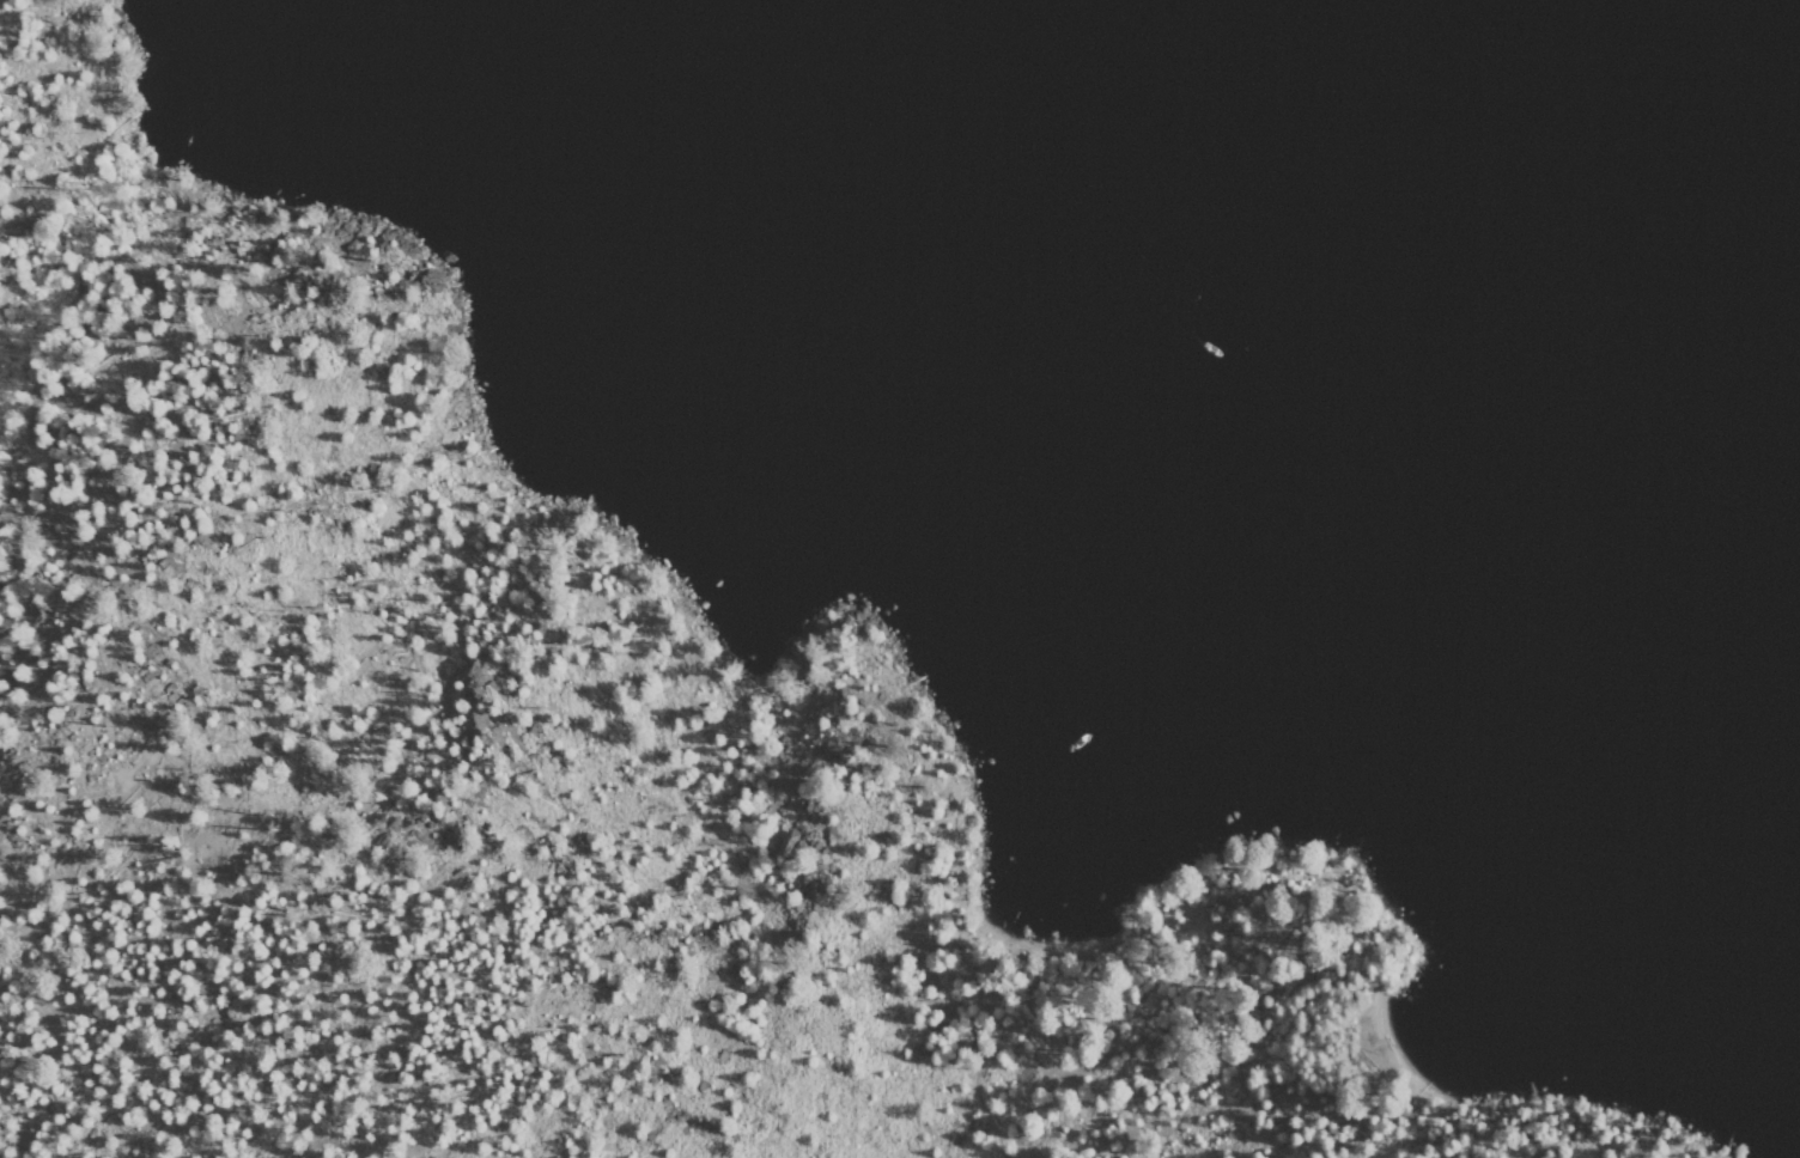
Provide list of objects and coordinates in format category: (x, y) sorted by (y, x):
road: (588, 577)
road: (1009, 943)

